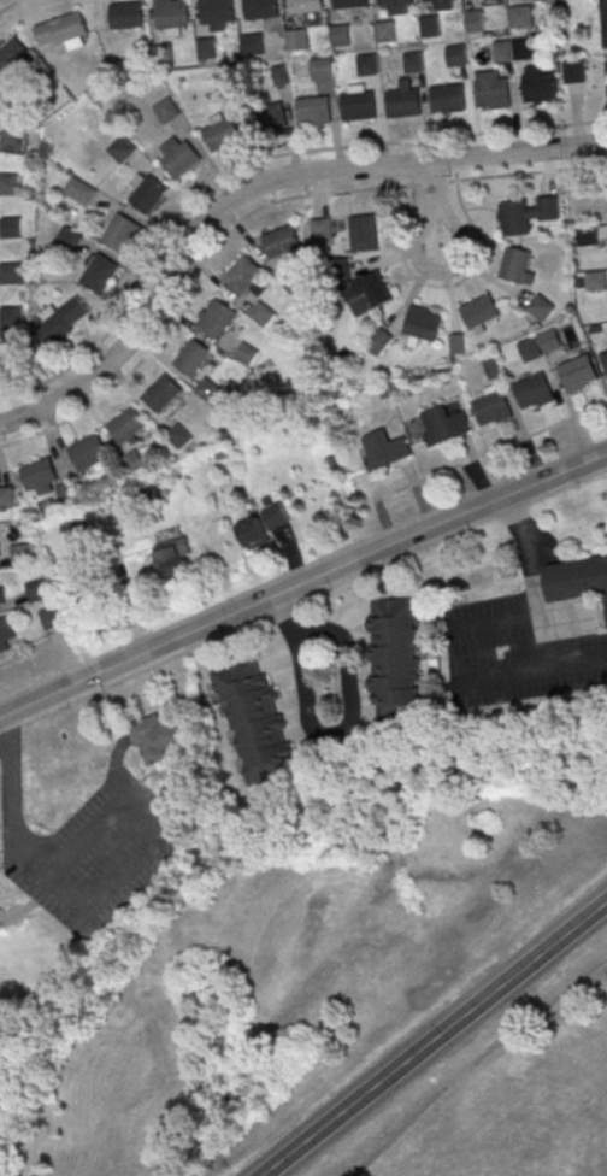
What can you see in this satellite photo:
building: (431, 0)
building: (393, 2)
building: (349, 4)
building: (446, 4)
road: (11, 5)
building: (303, 6)
building: (260, 8)
building: (216, 11)
building: (172, 14)
building: (125, 17)
building: (519, 18)
building: (475, 23)
building: (603, 23)
building: (429, 28)
building: (63, 30)
building: (385, 33)
building: (340, 36)
building: (296, 41)
building: (252, 47)
building: (206, 49)
building: (523, 51)
building: (502, 53)
building: (13, 58)
building: (456, 58)
building: (413, 64)
building: (367, 66)
building: (606, 69)
building: (323, 70)
building: (573, 73)
building: (279, 78)
building: (541, 89)
building: (493, 94)
building: (447, 99)
building: (402, 105)
building: (358, 107)
building: (166, 110)
building: (313, 111)
building: (269, 118)
building: (219, 130)
building: (12, 141)
road: (388, 143)
building: (120, 148)
building: (178, 154)
building: (8, 182)
road: (435, 183)
road: (253, 189)
building: (79, 190)
building: (146, 192)
road: (436, 204)
building: (526, 213)
building: (10, 227)
building: (322, 231)
building: (122, 233)
building: (363, 233)
building: (587, 235)
building: (67, 237)
building: (281, 241)
building: (517, 264)
building: (11, 272)
building: (99, 272)
building: (242, 274)
building: (596, 280)
building: (290, 282)
building: (367, 289)
building: (540, 306)
building: (481, 312)
building: (261, 313)
building: (11, 317)
building: (217, 317)
building: (63, 319)
building: (423, 323)
building: (378, 341)
building: (540, 345)
building: (246, 354)
building: (193, 357)
building: (603, 357)
building: (491, 366)
building: (576, 375)
building: (206, 388)
building: (163, 392)
building: (534, 393)
building: (493, 410)
building: (128, 424)
building: (443, 424)
building: (179, 435)
building: (384, 448)
road: (484, 452)
building: (88, 453)
building: (134, 460)
building: (46, 480)
building: (6, 496)
building: (276, 514)
building: (73, 528)
building: (254, 533)
building: (22, 553)
building: (175, 558)
building: (577, 578)
road: (302, 583)
building: (37, 590)
building: (0, 592)
building: (51, 617)
road: (502, 621)
road: (546, 624)
building: (6, 634)
road: (36, 649)
building: (397, 659)
road: (581, 664)
building: (255, 722)
building: (155, 736)
road: (331, 740)
road: (99, 821)
park: (311, 975)
road: (431, 1036)
road: (475, 1060)
park: (505, 1093)

